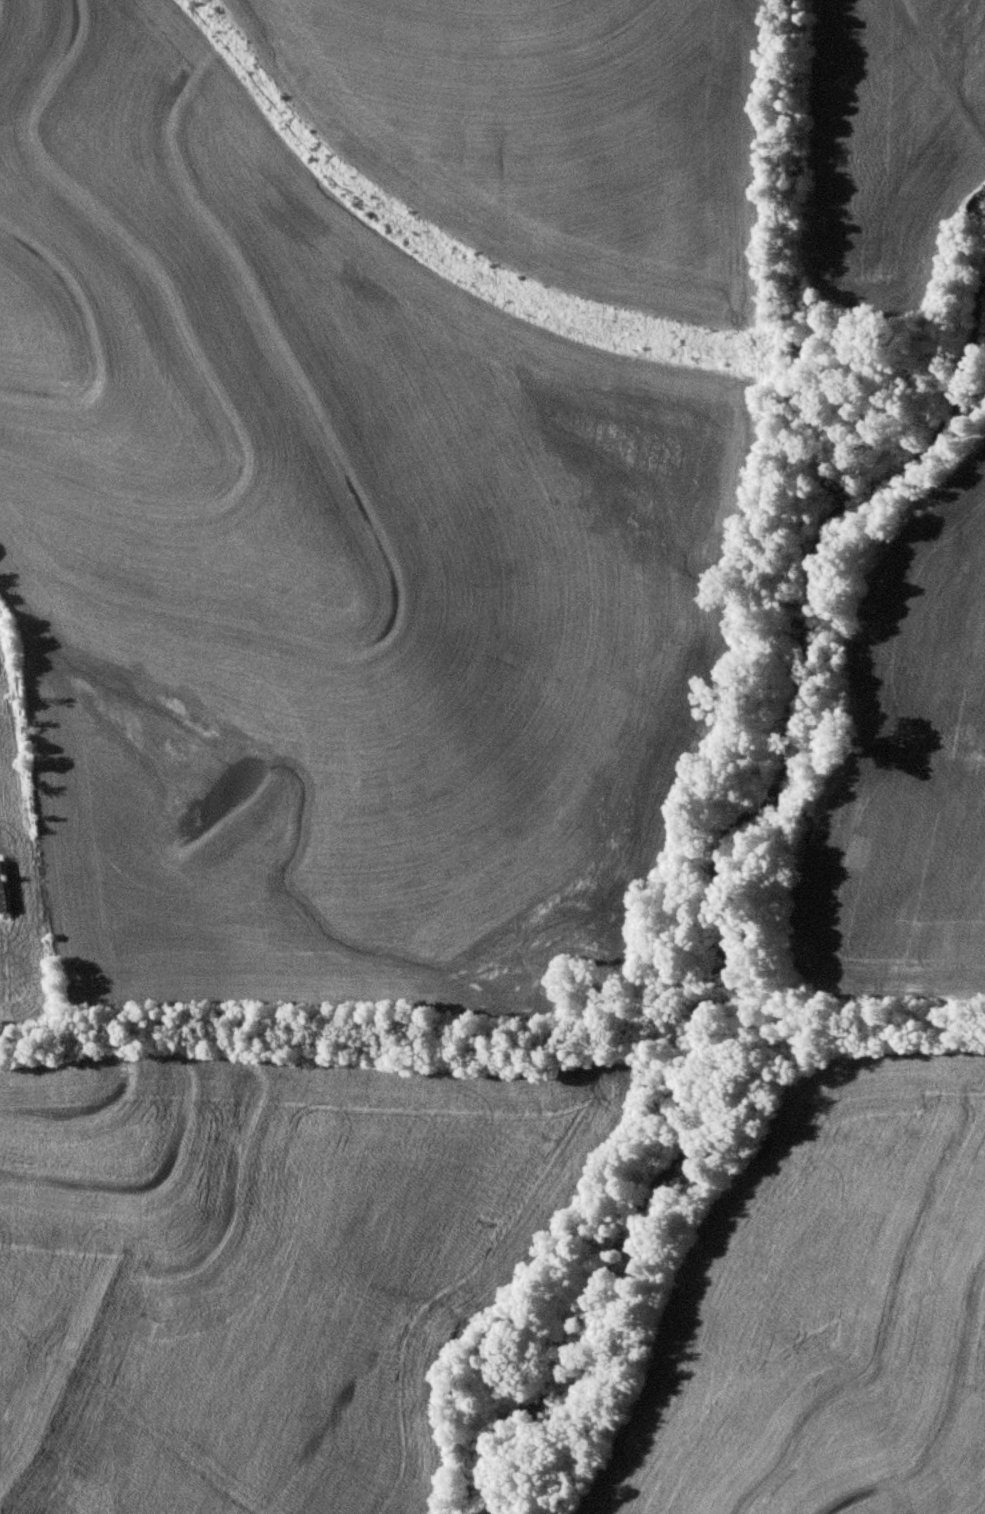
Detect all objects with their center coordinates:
building: (4, 887)

